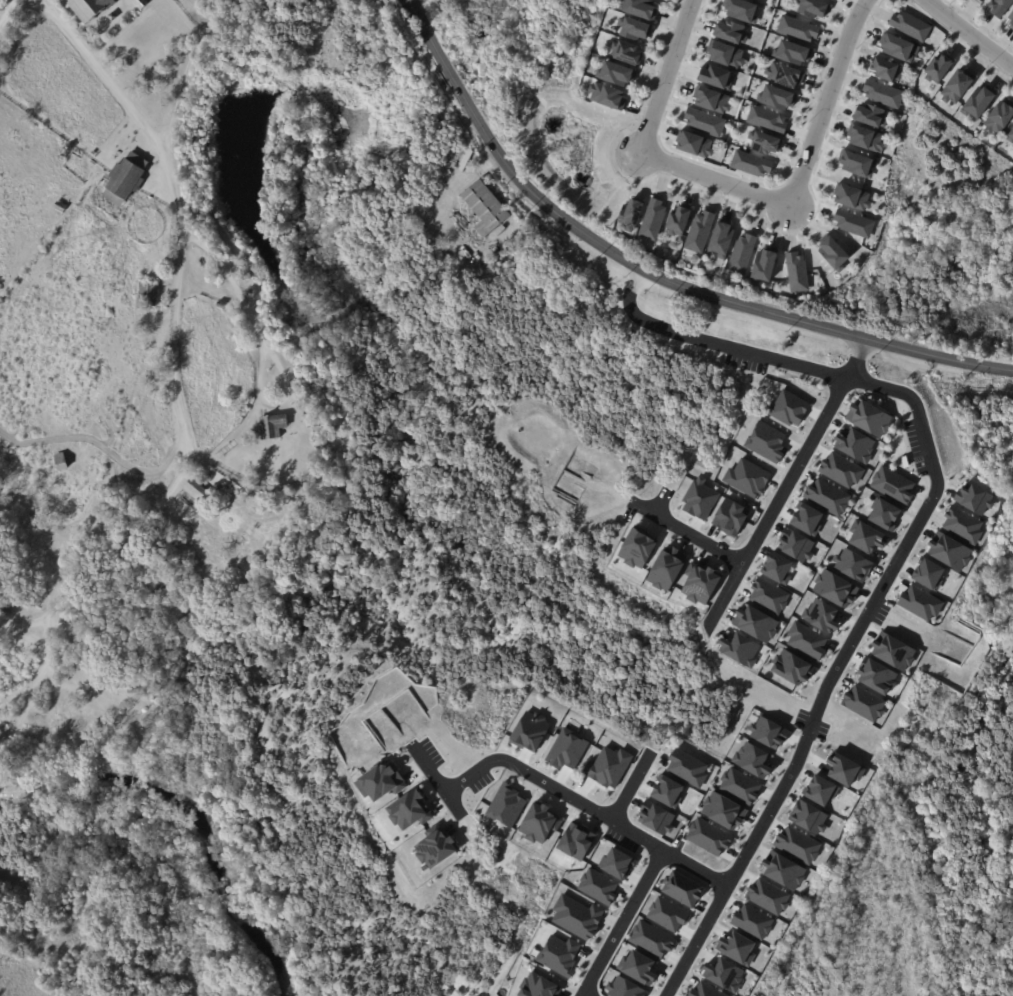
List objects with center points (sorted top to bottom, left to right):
building: (977, 2)
building: (139, 3)
road: (36, 4)
building: (998, 7)
building: (639, 8)
building: (813, 8)
building: (87, 9)
building: (742, 10)
road: (8, 13)
building: (111, 17)
building: (1010, 20)
building: (909, 26)
building: (634, 28)
building: (797, 28)
road: (425, 31)
building: (730, 32)
road: (965, 35)
building: (899, 47)
building: (627, 52)
building: (793, 52)
building: (725, 54)
building: (939, 67)
building: (887, 69)
building: (616, 73)
building: (785, 74)
road: (197, 75)
road: (665, 75)
road: (449, 76)
building: (716, 77)
crop: (61, 84)
building: (956, 86)
building: (882, 93)
building: (606, 96)
building: (777, 97)
building: (712, 99)
building: (977, 102)
building: (870, 115)
building: (996, 116)
building: (766, 119)
building: (704, 122)
building: (1011, 136)
building: (867, 138)
building: (764, 142)
building: (695, 144)
building: (137, 161)
building: (751, 163)
building: (857, 163)
road: (801, 175)
building: (124, 180)
road: (449, 196)
building: (853, 197)
building: (113, 199)
building: (60, 208)
building: (484, 210)
building: (631, 214)
building: (652, 219)
building: (679, 220)
building: (854, 223)
building: (698, 231)
building: (722, 239)
building: (742, 252)
building: (834, 252)
building: (764, 266)
building: (245, 269)
building: (797, 272)
road: (698, 291)
building: (250, 294)
building: (144, 296)
building: (218, 305)
road: (715, 341)
road: (174, 344)
road: (271, 354)
road: (856, 359)
building: (788, 407)
building: (306, 414)
building: (869, 417)
building: (269, 427)
building: (314, 427)
building: (766, 441)
building: (856, 444)
park: (230, 449)
road: (117, 450)
building: (841, 469)
building: (747, 477)
building: (893, 485)
building: (307, 490)
building: (196, 494)
building: (827, 497)
building: (699, 498)
building: (975, 498)
road: (777, 500)
building: (885, 514)
building: (730, 517)
building: (807, 519)
building: (963, 524)
road: (689, 534)
building: (868, 538)
building: (796, 544)
building: (637, 548)
building: (951, 551)
building: (854, 564)
building: (777, 568)
building: (667, 569)
building: (929, 573)
building: (2, 576)
building: (701, 584)
building: (837, 588)
building: (769, 595)
building: (920, 603)
building: (5, 606)
building: (821, 615)
building: (755, 623)
building: (806, 640)
road: (79, 646)
building: (741, 649)
building: (894, 652)
building: (793, 667)
road: (44, 668)
road: (836, 668)
building: (878, 677)
building: (100, 694)
building: (864, 702)
building: (102, 705)
building: (118, 712)
building: (530, 731)
building: (769, 732)
building: (566, 749)
building: (753, 760)
building: (608, 767)
building: (687, 767)
building: (845, 769)
building: (380, 780)
road: (437, 781)
building: (739, 785)
road: (630, 788)
building: (821, 790)
building: (667, 792)
building: (505, 805)
road: (586, 806)
building: (409, 810)
building: (723, 810)
building: (809, 816)
building: (655, 817)
building: (539, 823)
building: (708, 836)
building: (576, 841)
building: (797, 844)
building: (435, 848)
building: (616, 863)
building: (784, 871)
building: (597, 886)
building: (682, 889)
building: (768, 896)
building: (667, 914)
building: (577, 916)
building: (752, 921)
road: (622, 923)
building: (651, 939)
building: (738, 947)
building: (560, 954)
building: (638, 966)
building: (724, 974)
building: (539, 986)
building: (624, 987)
building: (705, 990)
road: (583, 995)

